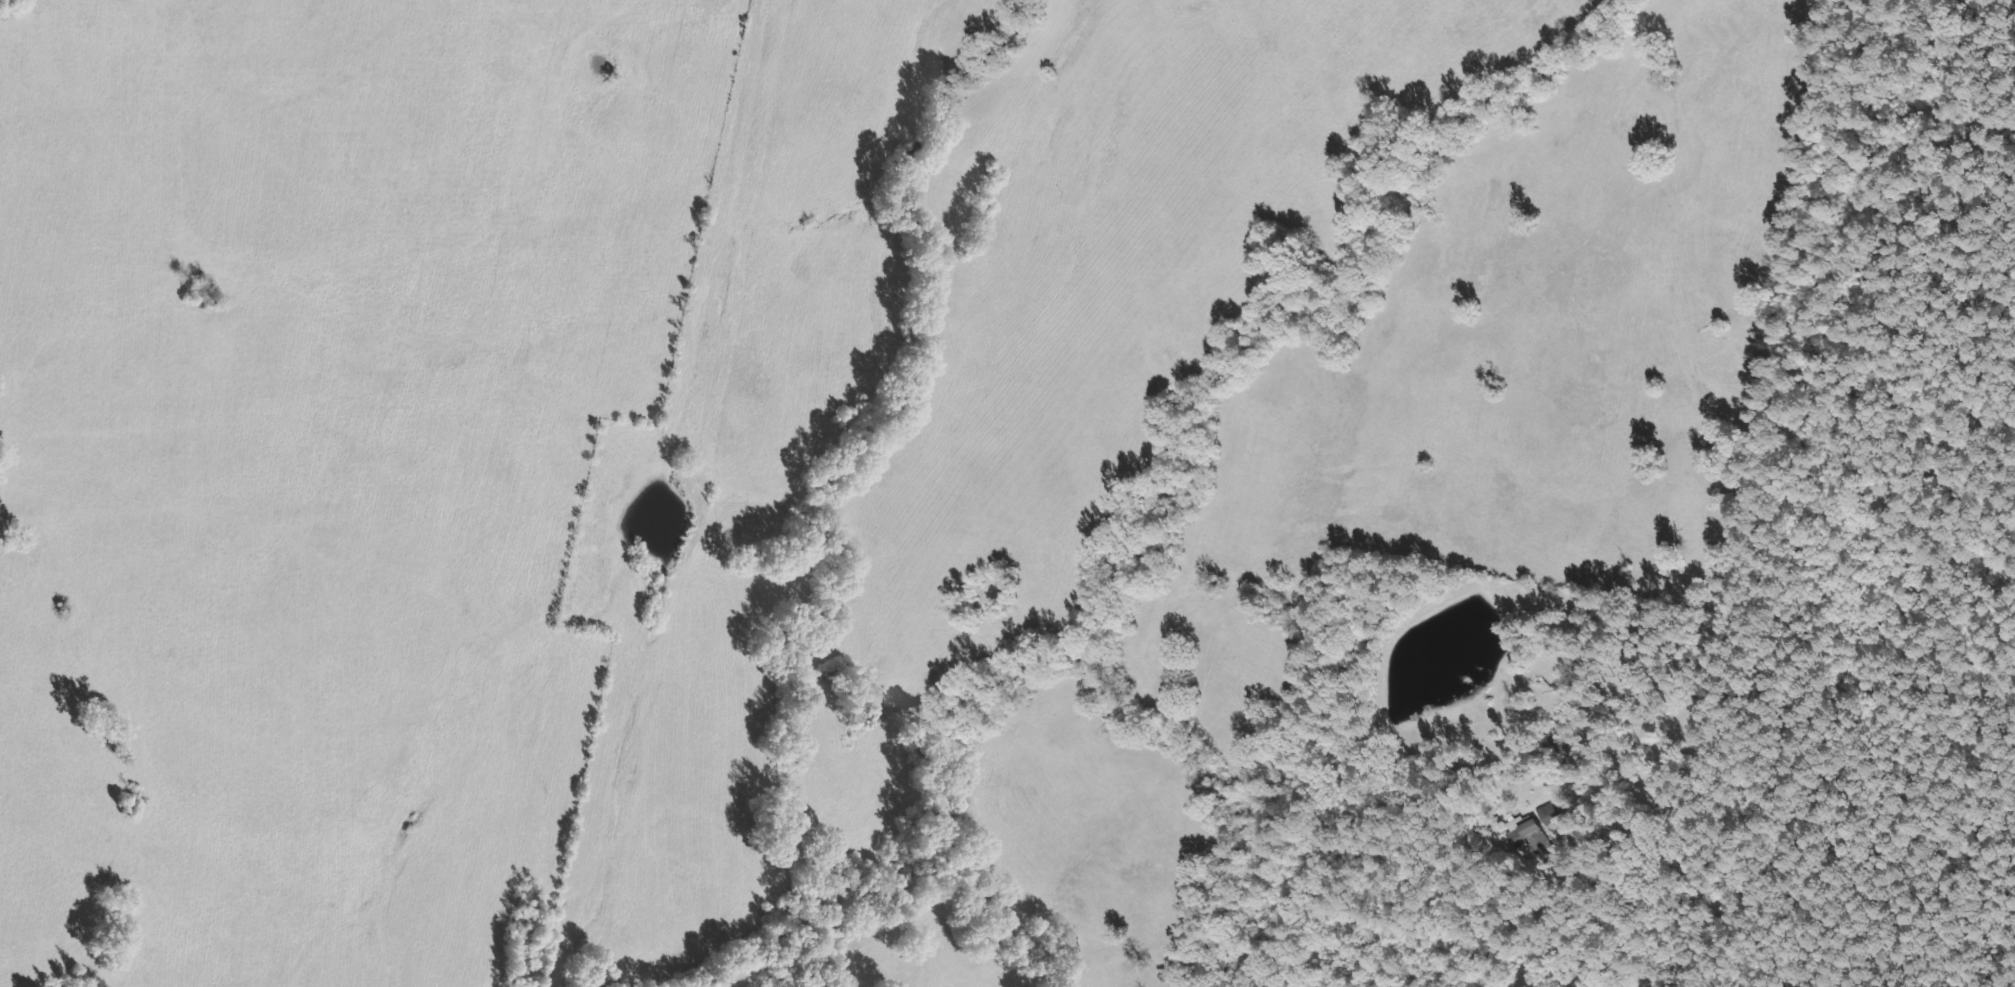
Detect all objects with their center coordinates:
road: (1564, 409)
road: (1727, 447)
road: (1843, 729)
building: (1543, 817)
building: (1519, 833)

